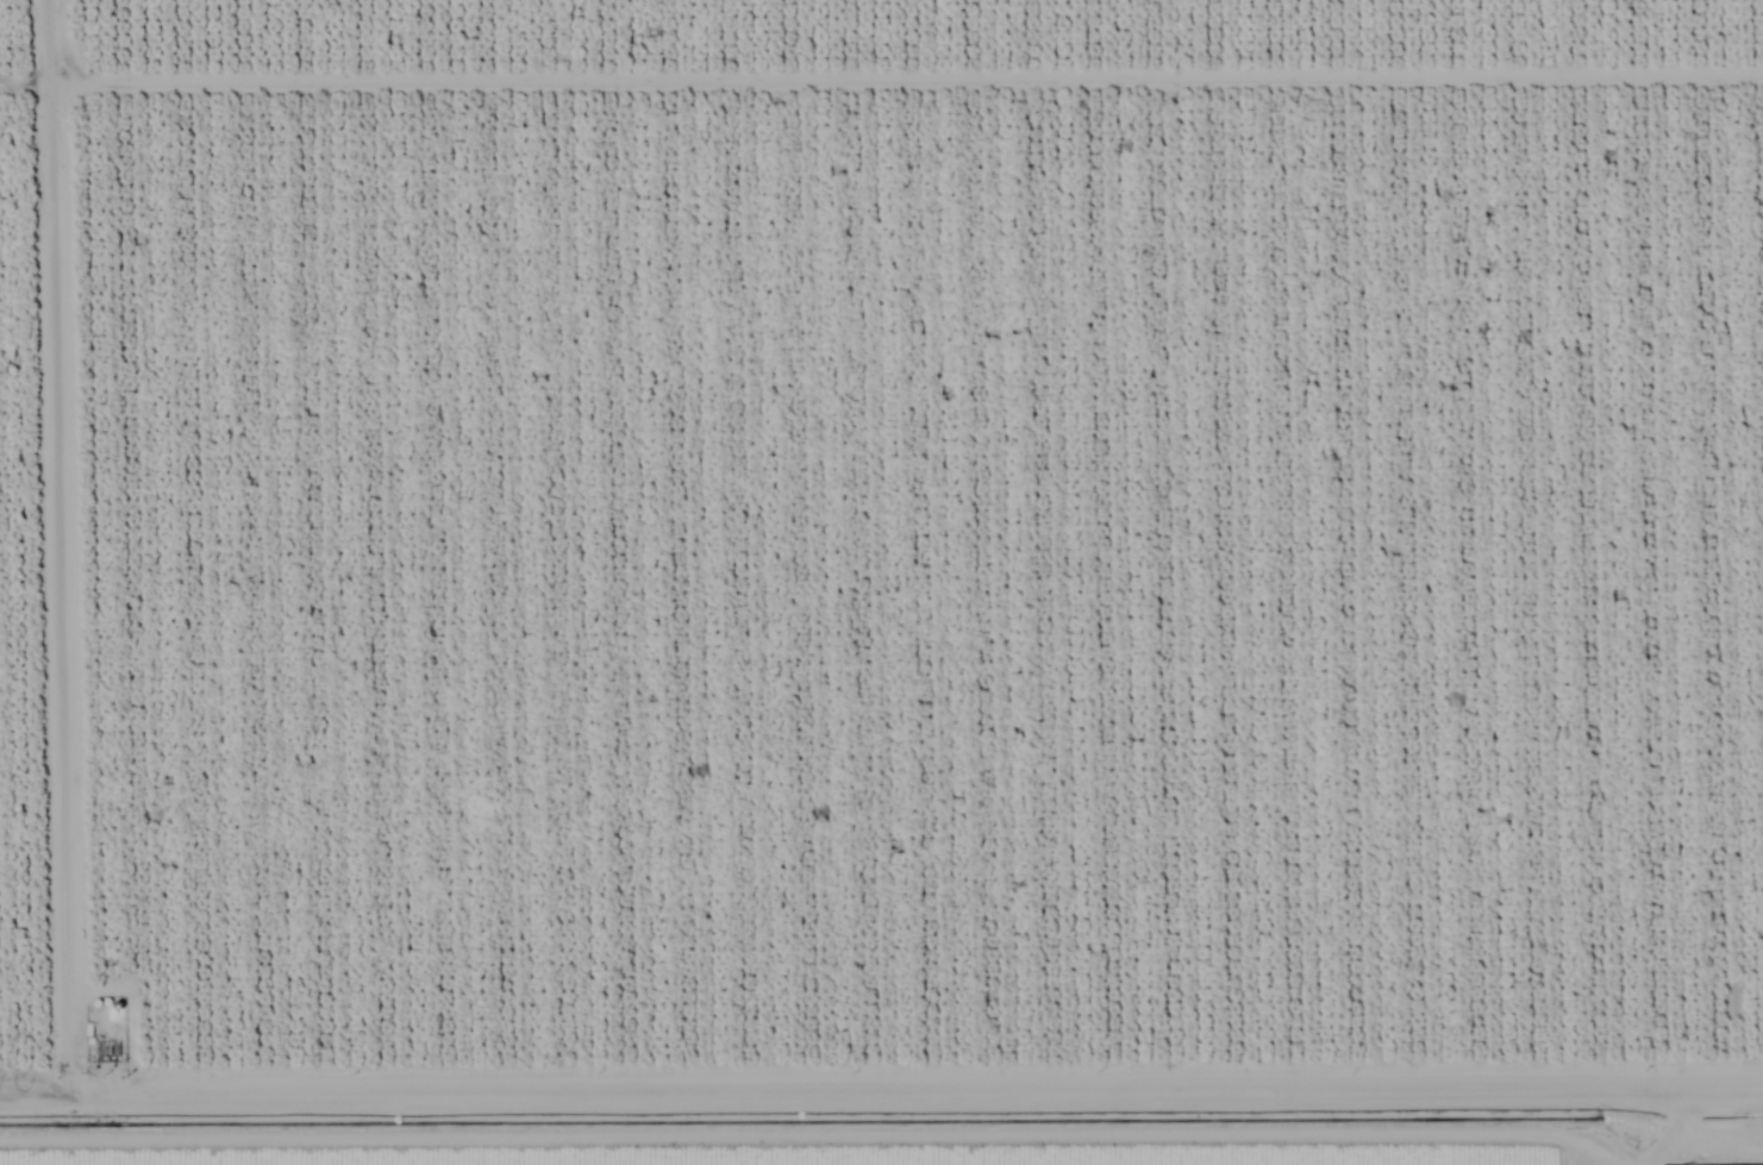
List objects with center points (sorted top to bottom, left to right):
road: (881, 1075)
road: (881, 1115)
road: (1627, 1142)
crop: (850, 1153)

